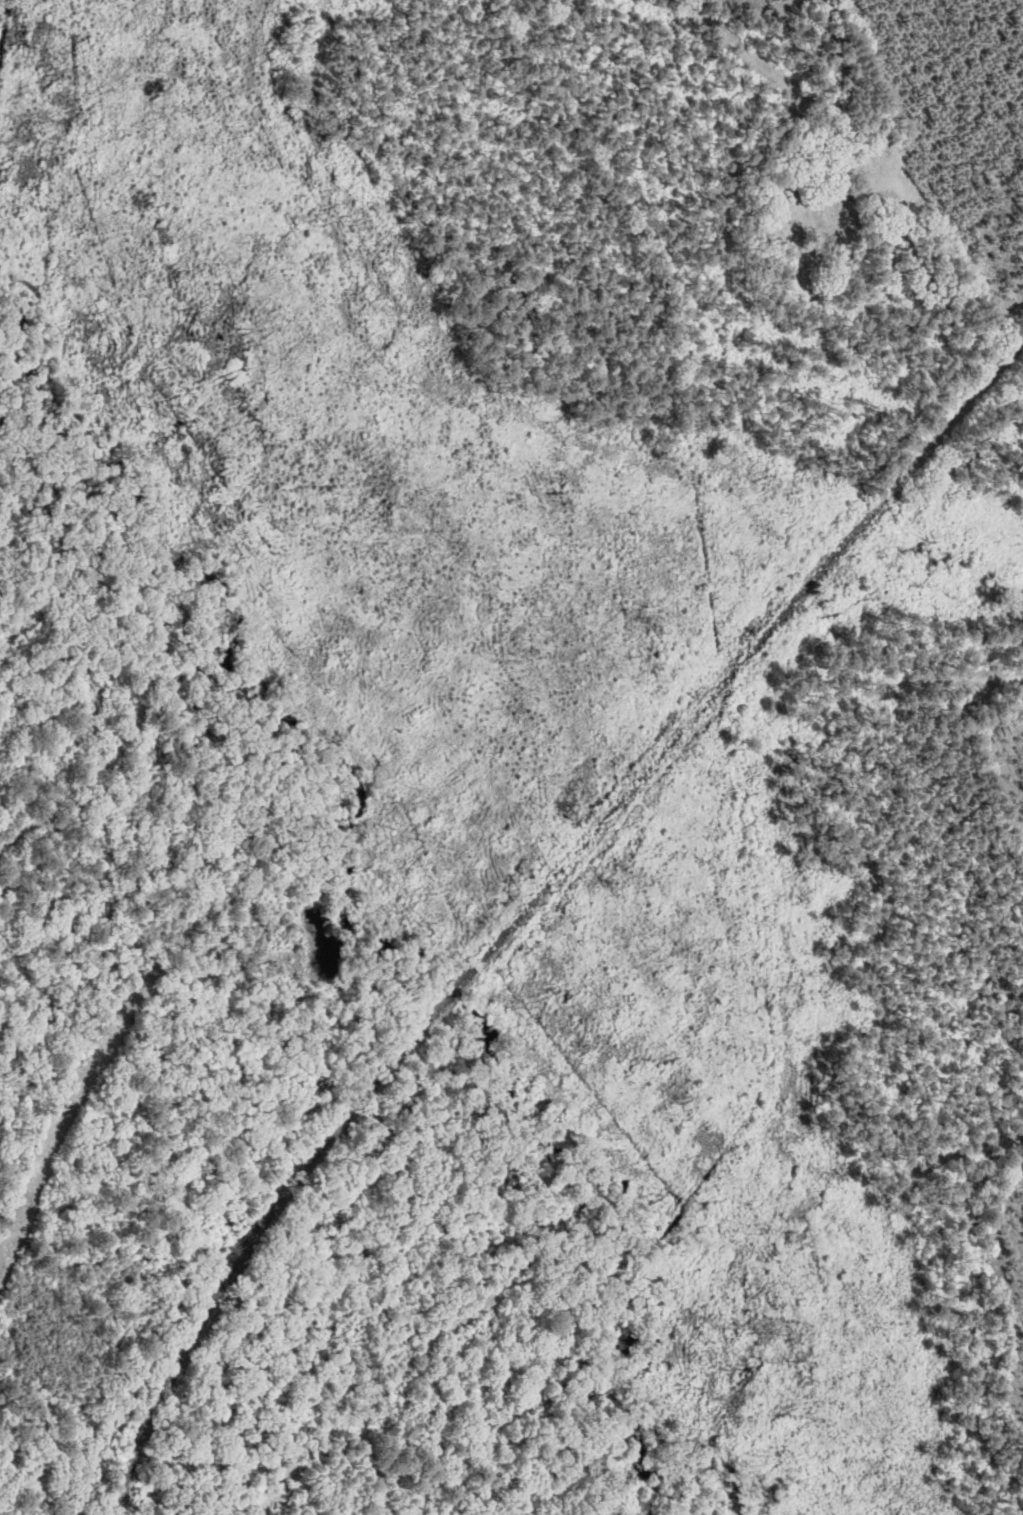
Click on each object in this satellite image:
railway: (539, 907)
building: (114, 924)

